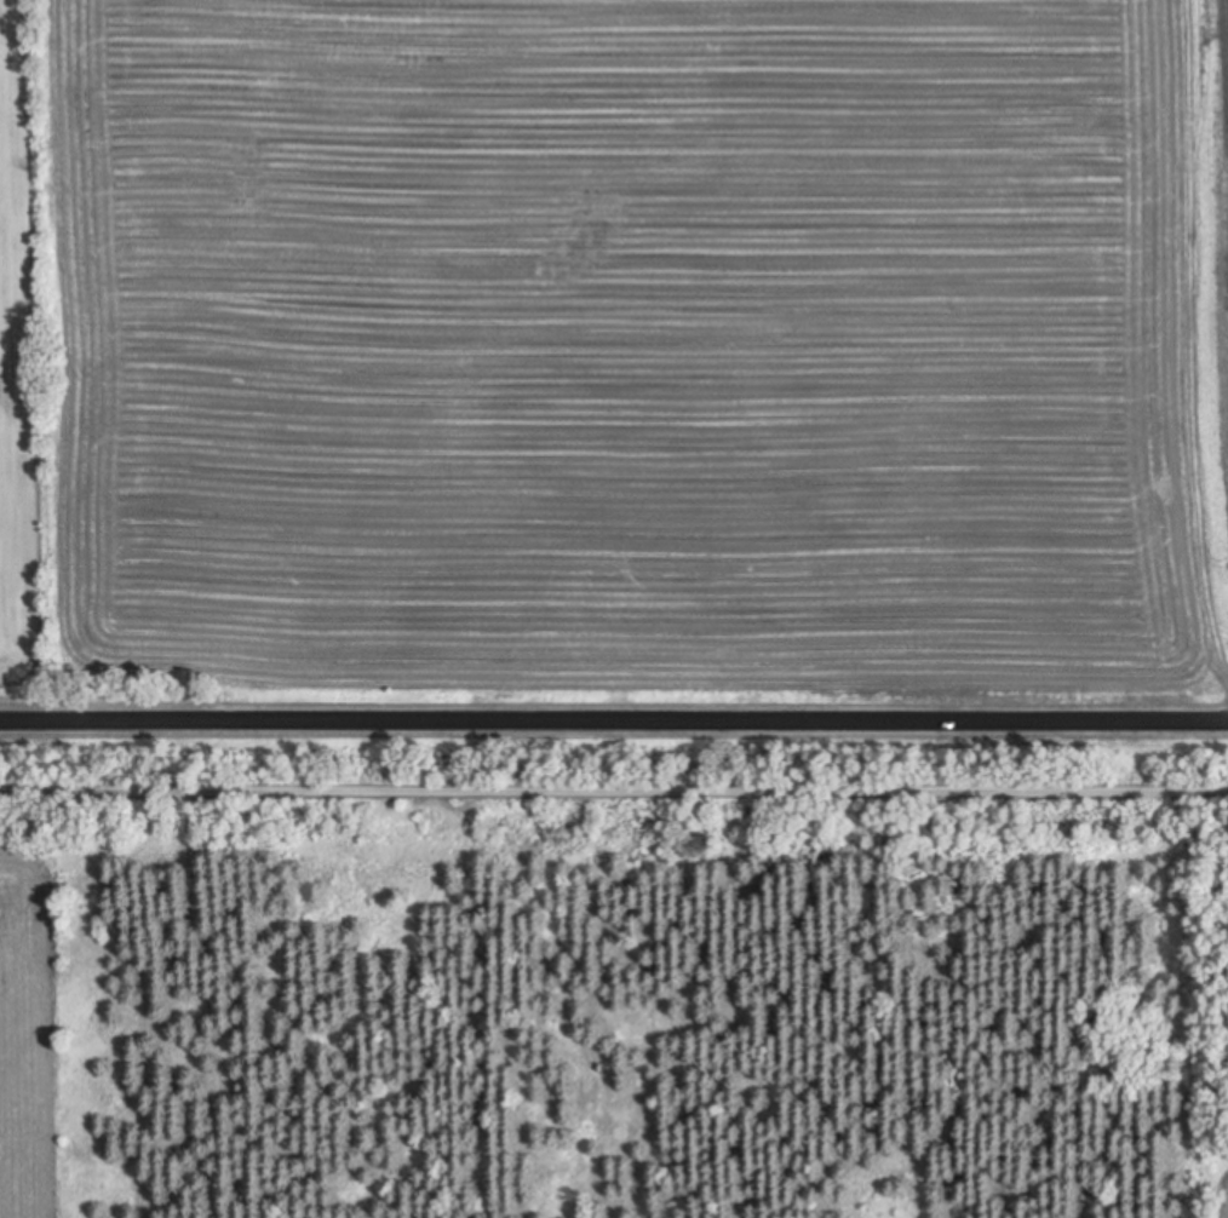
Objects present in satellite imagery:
road: (614, 720)
road: (614, 793)

